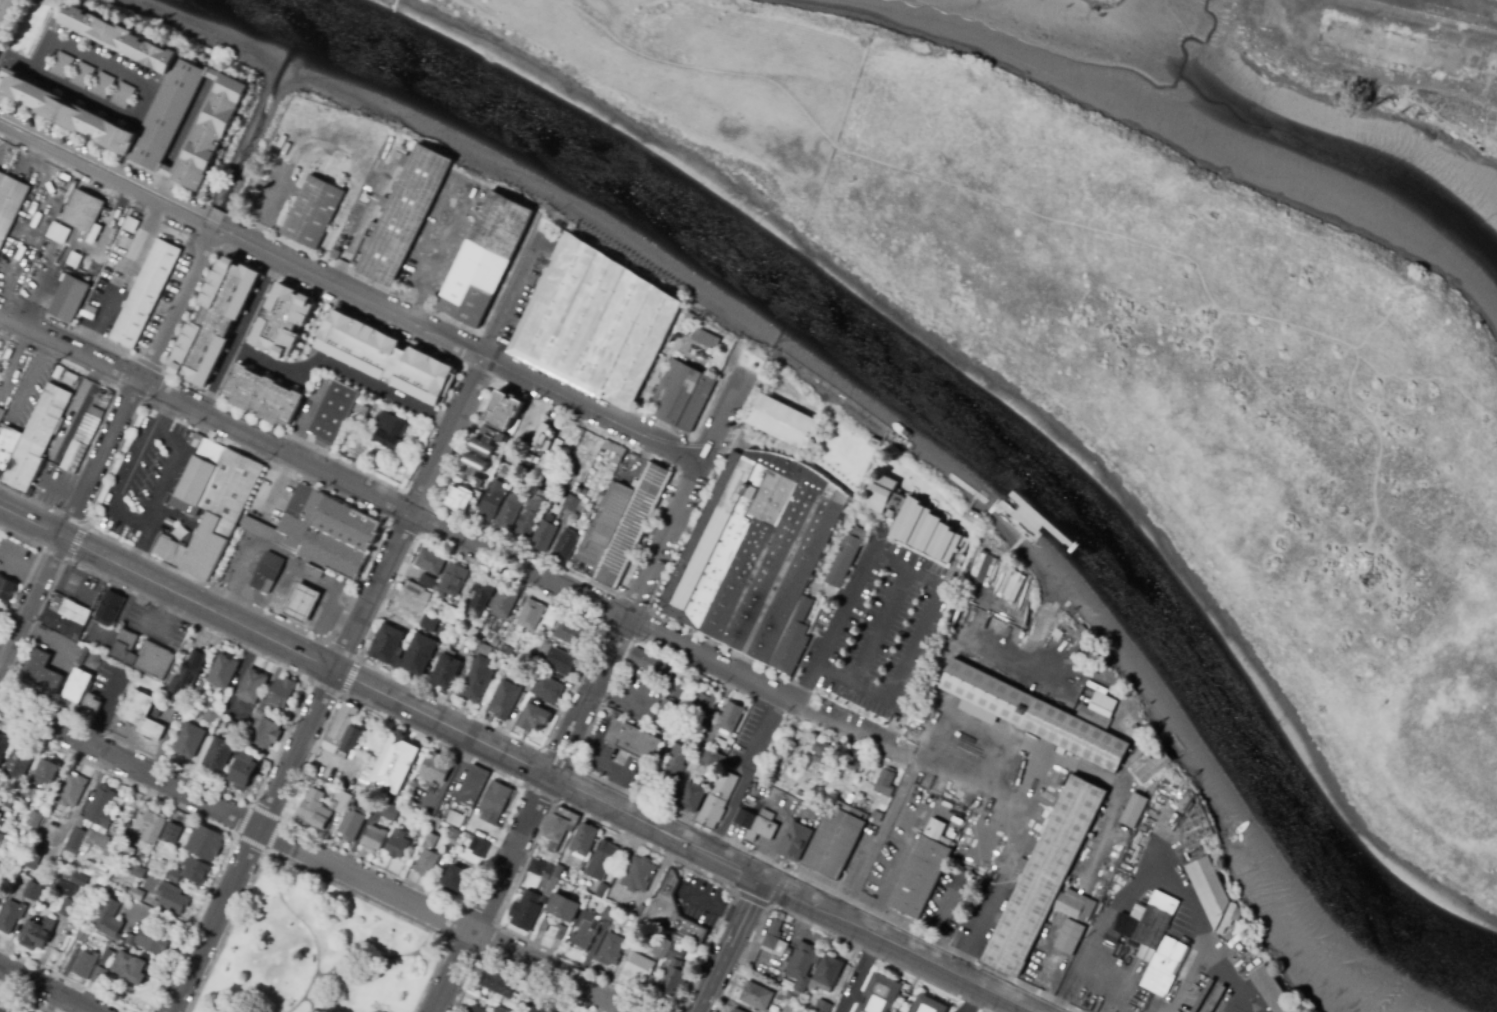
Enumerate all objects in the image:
building: (8, 17)
road: (13, 61)
road: (705, 70)
park: (704, 77)
building: (184, 83)
road: (147, 87)
building: (215, 133)
road: (182, 141)
building: (8, 193)
building: (71, 212)
building: (317, 212)
building: (402, 216)
building: (131, 224)
building: (57, 232)
building: (482, 260)
building: (139, 286)
building: (64, 293)
road: (351, 293)
road: (259, 303)
building: (571, 309)
building: (89, 312)
building: (691, 318)
building: (287, 320)
building: (219, 321)
building: (687, 330)
building: (709, 338)
building: (631, 340)
building: (711, 354)
building: (385, 356)
road: (312, 363)
building: (104, 391)
building: (267, 395)
building: (689, 399)
building: (505, 405)
building: (332, 408)
building: (361, 408)
building: (0, 409)
road: (163, 414)
building: (784, 421)
river: (943, 425)
building: (387, 430)
building: (77, 435)
building: (30, 436)
building: (544, 438)
building: (820, 438)
building: (486, 440)
building: (557, 443)
road: (106, 444)
building: (609, 450)
building: (474, 464)
building: (196, 469)
parking lot: (144, 476)
building: (228, 484)
building: (551, 485)
building: (884, 492)
building: (458, 495)
building: (567, 500)
building: (487, 502)
building: (506, 508)
building: (525, 512)
building: (865, 517)
road: (385, 519)
road: (142, 522)
building: (617, 522)
building: (321, 529)
building: (928, 529)
building: (540, 534)
road: (460, 538)
building: (561, 541)
road: (74, 543)
building: (206, 545)
building: (167, 549)
building: (757, 557)
building: (845, 561)
building: (431, 562)
building: (979, 566)
building: (263, 570)
building: (990, 571)
building: (314, 572)
building: (997, 573)
building: (453, 580)
building: (427, 582)
building: (1013, 582)
building: (6, 589)
building: (416, 592)
building: (481, 596)
building: (300, 601)
building: (1019, 601)
building: (504, 603)
road: (934, 604)
building: (110, 606)
building: (1, 610)
building: (407, 610)
building: (451, 614)
building: (531, 614)
building: (67, 617)
building: (552, 617)
road: (354, 623)
building: (429, 624)
road: (597, 627)
building: (571, 633)
road: (275, 638)
building: (495, 642)
building: (544, 647)
building: (1117, 648)
building: (402, 649)
building: (508, 651)
building: (496, 652)
building: (144, 654)
building: (561, 662)
building: (648, 662)
building: (44, 671)
building: (225, 671)
building: (189, 672)
building: (446, 672)
building: (478, 676)
road: (350, 678)
road: (591, 684)
road: (805, 684)
building: (79, 685)
building: (254, 685)
building: (674, 688)
building: (548, 689)
building: (691, 690)
building: (283, 694)
building: (505, 700)
building: (175, 701)
building: (94, 702)
building: (705, 705)
building: (665, 713)
building: (144, 714)
building: (156, 714)
building: (1047, 715)
building: (212, 716)
building: (733, 717)
building: (1124, 718)
building: (534, 719)
building: (254, 722)
building: (232, 727)
building: (344, 731)
building: (267, 733)
building: (673, 735)
building: (1136, 735)
road: (762, 736)
building: (191, 740)
building: (634, 742)
building: (721, 743)
building: (4, 748)
building: (820, 752)
building: (221, 754)
building: (711, 758)
building: (19, 763)
building: (398, 764)
building: (675, 764)
building: (847, 765)
building: (247, 768)
building: (437, 768)
building: (1152, 770)
building: (645, 771)
building: (45, 772)
road: (523, 785)
building: (887, 785)
building: (474, 786)
building: (452, 789)
building: (431, 791)
building: (799, 794)
building: (34, 795)
building: (69, 796)
building: (692, 796)
building: (14, 798)
building: (497, 799)
building: (719, 799)
building: (850, 799)
building: (339, 801)
building: (397, 802)
road: (250, 803)
building: (319, 809)
building: (1133, 809)
road: (75, 810)
building: (392, 812)
building: (877, 815)
building: (0, 816)
road: (729, 816)
building: (429, 818)
building: (34, 820)
building: (94, 820)
road: (205, 821)
road: (280, 821)
building: (761, 822)
building: (436, 824)
building: (561, 824)
building: (353, 825)
building: (152, 827)
building: (423, 828)
road: (653, 828)
building: (172, 833)
building: (453, 836)
road: (1020, 836)
building: (479, 837)
building: (377, 838)
road: (877, 838)
building: (585, 840)
building: (837, 841)
building: (798, 842)
building: (205, 843)
building: (40, 844)
building: (399, 844)
building: (130, 853)
road: (317, 856)
building: (427, 857)
building: (35, 859)
building: (602, 861)
building: (196, 871)
building: (138, 872)
building: (925, 872)
building: (100, 873)
building: (545, 873)
road: (312, 874)
building: (639, 874)
building: (175, 875)
building: (75, 877)
building: (1049, 879)
traffic signals: (759, 880)
building: (456, 883)
building: (1212, 885)
building: (596, 887)
building: (66, 889)
building: (601, 890)
road: (883, 890)
building: (32, 891)
building: (136, 893)
road: (1125, 894)
building: (173, 899)
building: (545, 900)
road: (768, 905)
building: (132, 906)
building: (66, 907)
building: (564, 908)
building: (526, 911)
building: (671, 911)
building: (609, 915)
building: (11, 916)
building: (110, 920)
building: (631, 924)
building: (1148, 925)
building: (643, 928)
building: (562, 929)
building: (37, 934)
building: (83, 935)
building: (585, 935)
building: (1068, 936)
building: (130, 940)
building: (152, 940)
building: (775, 941)
road: (1208, 944)
road: (894, 945)
road: (727, 946)
building: (663, 948)
building: (611, 950)
park: (322, 953)
building: (86, 964)
building: (1168, 966)
building: (103, 967)
building: (131, 967)
building: (639, 968)
building: (801, 970)
building: (828, 971)
building: (674, 973)
road: (1048, 974)
road: (862, 975)
road: (65, 979)
building: (497, 984)
road: (45, 989)
building: (1277, 990)
building: (882, 994)
building: (756, 996)
building: (1213, 996)
road: (968, 999)
road: (24, 1000)
building: (931, 1003)
building: (525, 1005)
building: (8, 1007)
building: (822, 1007)
building: (547, 1008)
building: (474, 1009)
building: (502, 1010)
road: (676, 1010)
building: (737, 1010)

